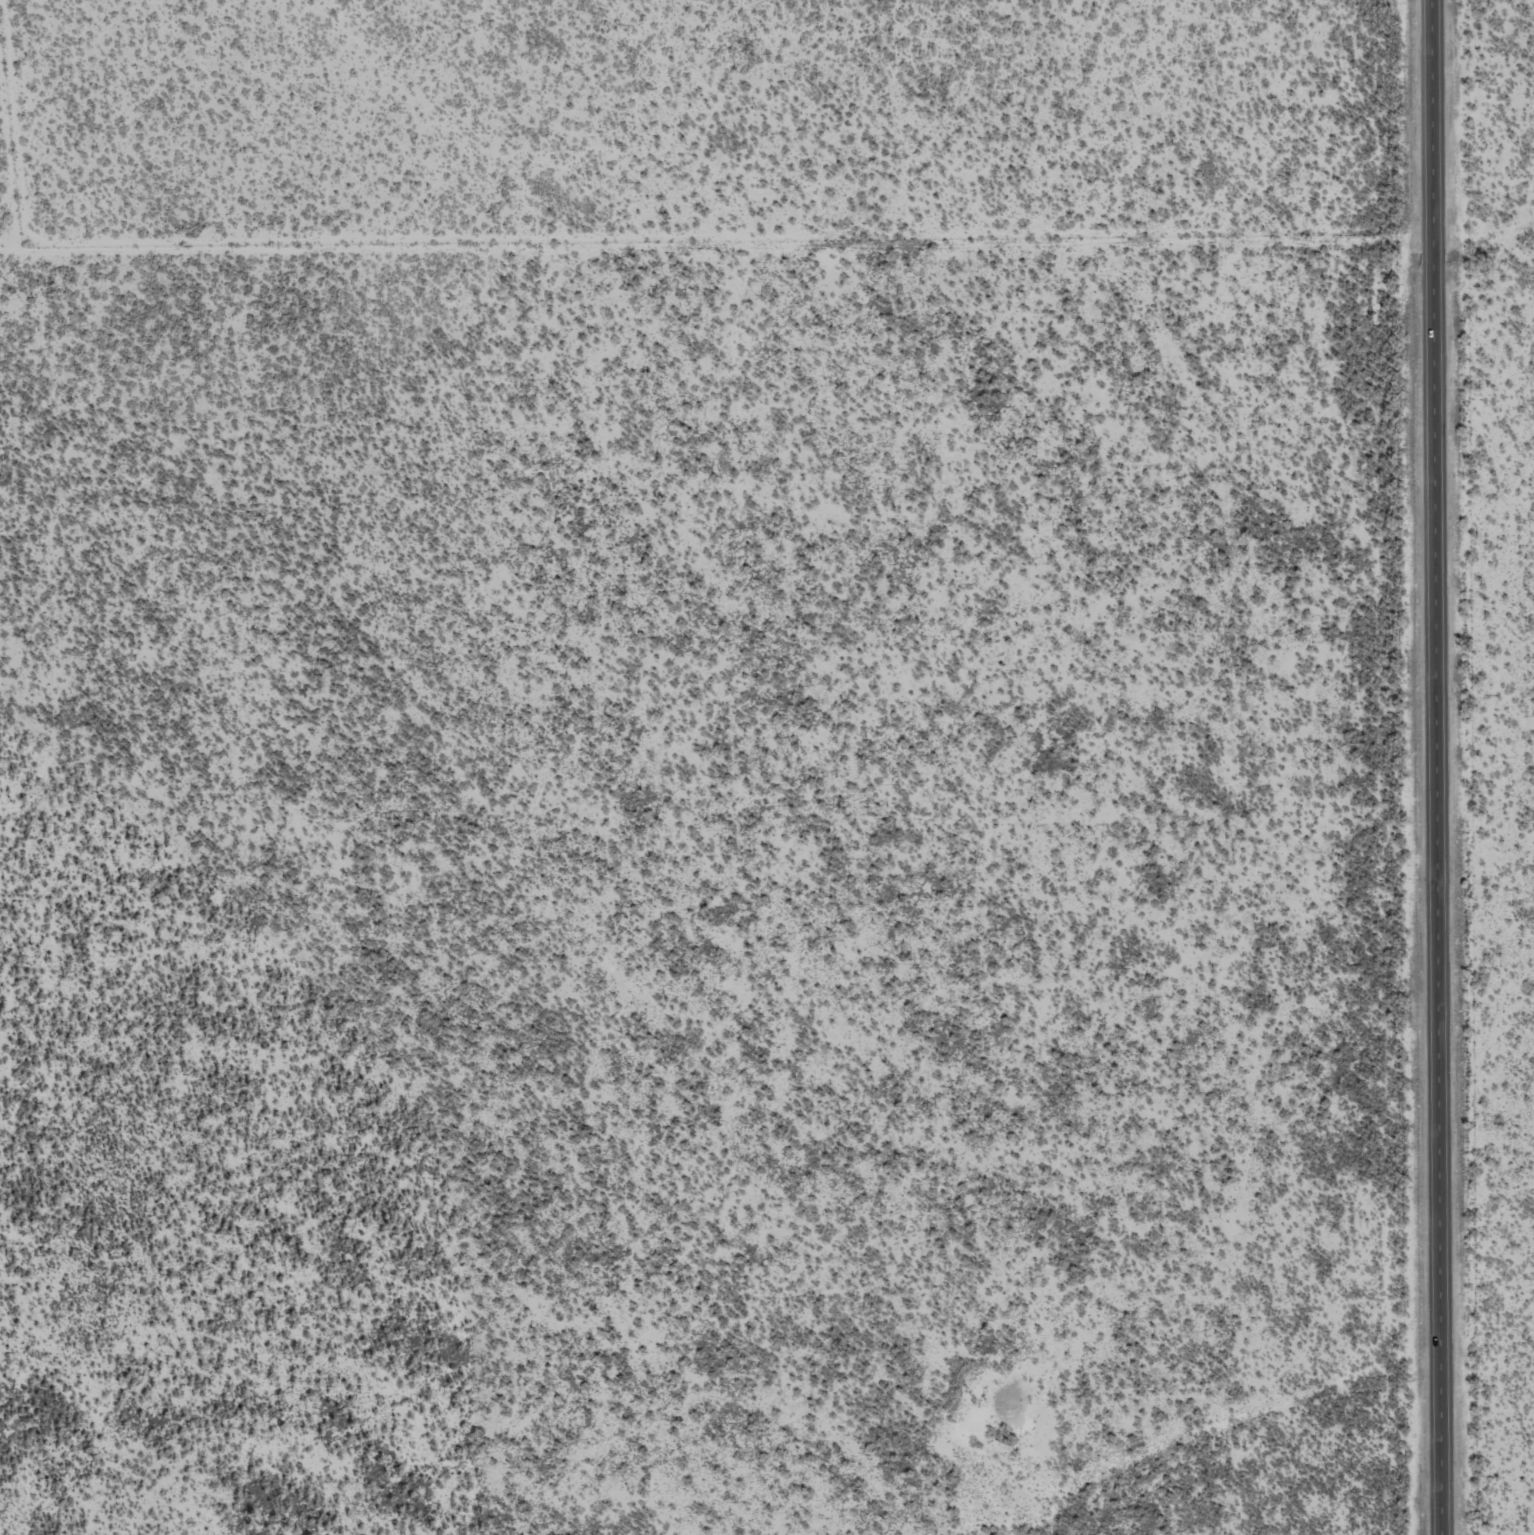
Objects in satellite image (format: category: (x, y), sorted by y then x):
road: (1438, 767)

